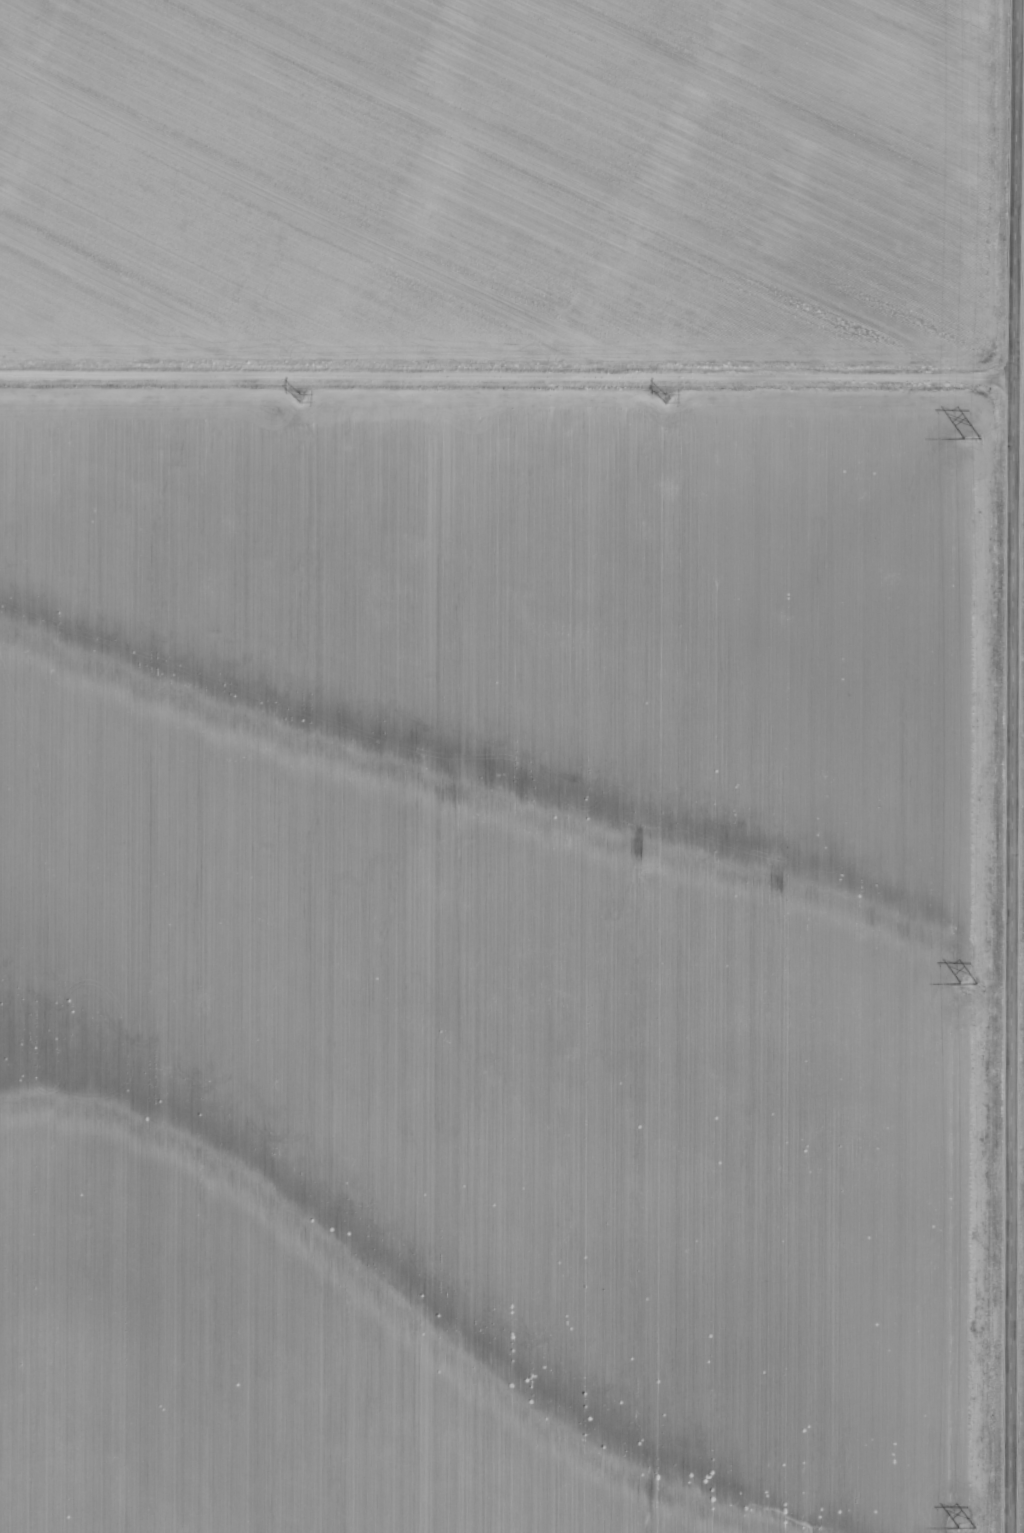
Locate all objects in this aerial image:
road: (507, 379)
road: (1019, 379)
power tower: (659, 393)
power tower: (294, 394)
power tower: (975, 437)
road: (1012, 766)
power tower: (971, 980)
power tower: (970, 1525)

